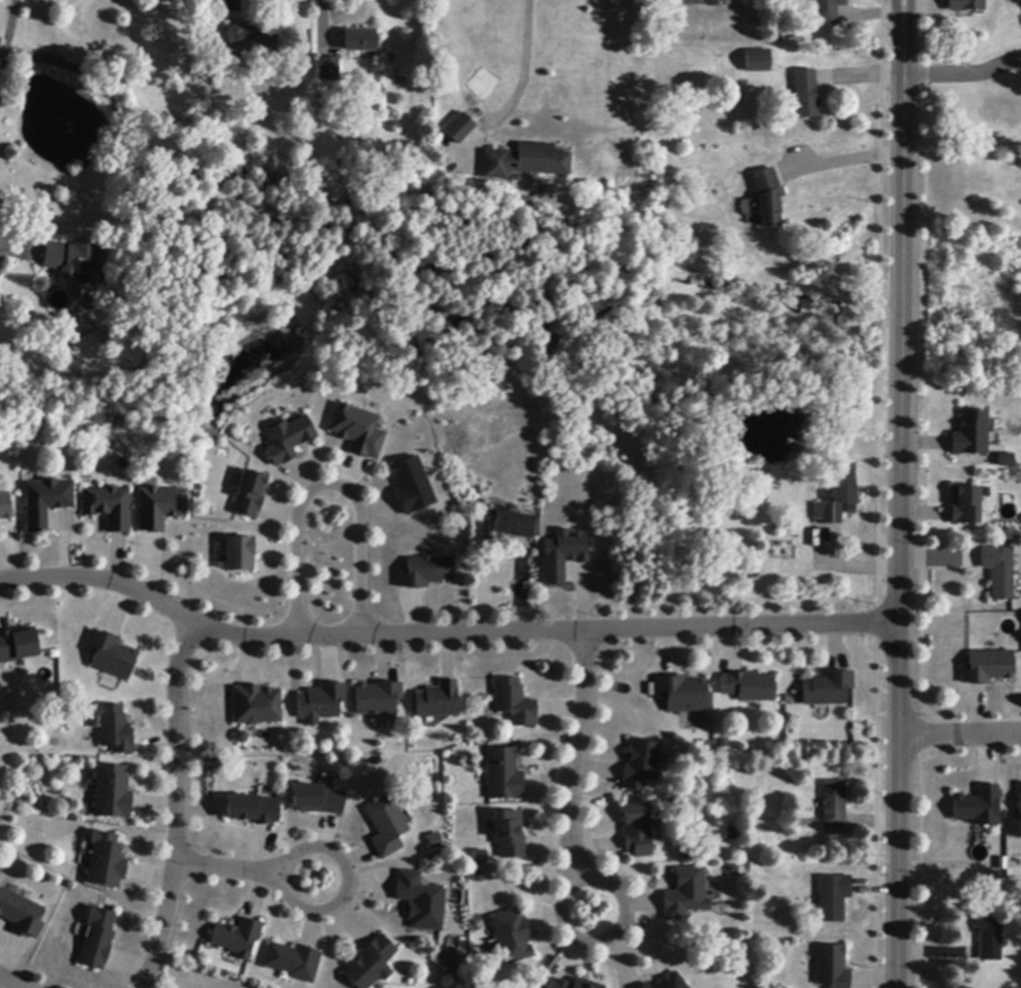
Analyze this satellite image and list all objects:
building: (689, 3)
building: (715, 3)
road: (230, 5)
building: (966, 5)
building: (827, 11)
road: (323, 16)
road: (899, 17)
road: (906, 17)
road: (7, 40)
building: (250, 40)
building: (360, 41)
building: (754, 63)
building: (329, 69)
road: (963, 72)
road: (521, 79)
building: (805, 94)
building: (458, 129)
road: (844, 161)
building: (523, 162)
building: (766, 197)
building: (76, 263)
park: (320, 314)
park: (967, 323)
building: (359, 431)
building: (971, 435)
building: (289, 440)
building: (1005, 460)
road: (329, 485)
building: (413, 487)
building: (251, 495)
building: (839, 496)
building: (47, 502)
building: (5, 506)
building: (965, 506)
building: (109, 508)
building: (161, 508)
road: (902, 511)
building: (513, 525)
building: (241, 554)
building: (564, 555)
building: (426, 572)
building: (999, 572)
road: (444, 632)
building: (18, 645)
building: (112, 655)
building: (987, 668)
building: (749, 687)
building: (828, 689)
building: (682, 694)
building: (379, 698)
building: (439, 701)
building: (322, 703)
building: (515, 703)
building: (258, 706)
building: (116, 729)
road: (961, 732)
building: (243, 737)
road: (578, 755)
building: (641, 765)
building: (504, 775)
building: (114, 793)
building: (1020, 798)
building: (318, 800)
road: (181, 804)
building: (834, 805)
building: (978, 807)
building: (254, 810)
building: (387, 827)
building: (637, 830)
building: (510, 835)
building: (736, 835)
building: (436, 841)
building: (107, 861)
road: (229, 869)
building: (686, 895)
building: (833, 898)
building: (420, 902)
road: (311, 909)
building: (21, 914)
road: (564, 920)
building: (512, 936)
building: (237, 938)
building: (989, 939)
building: (97, 940)
building: (292, 962)
building: (371, 964)
building: (832, 967)
road: (11, 982)
building: (672, 982)
building: (573, 984)
building: (646, 986)

